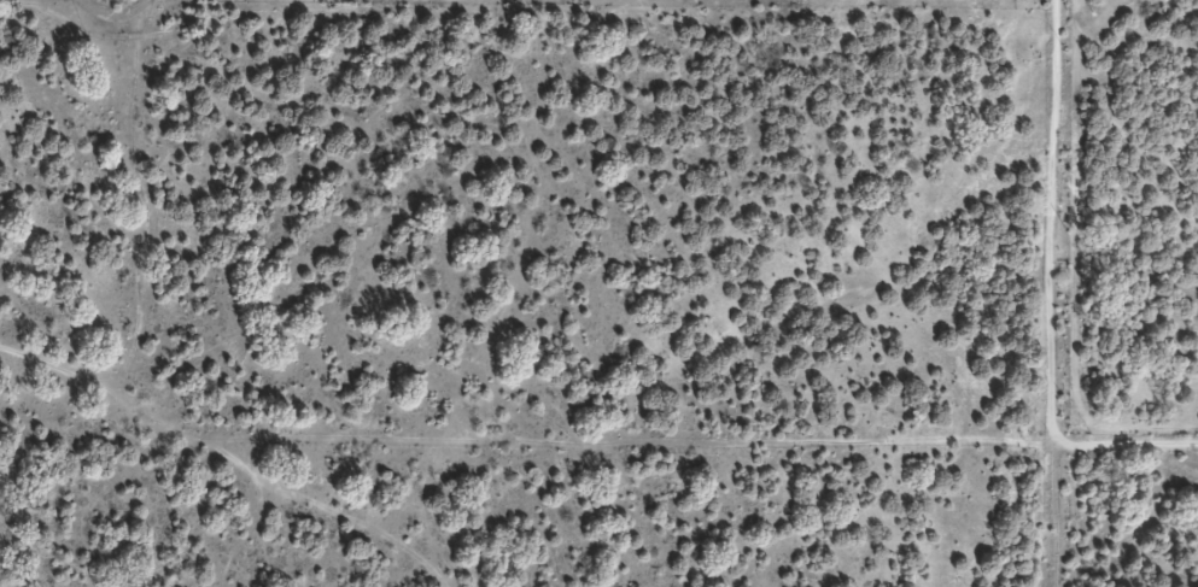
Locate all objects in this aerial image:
road: (241, 457)

